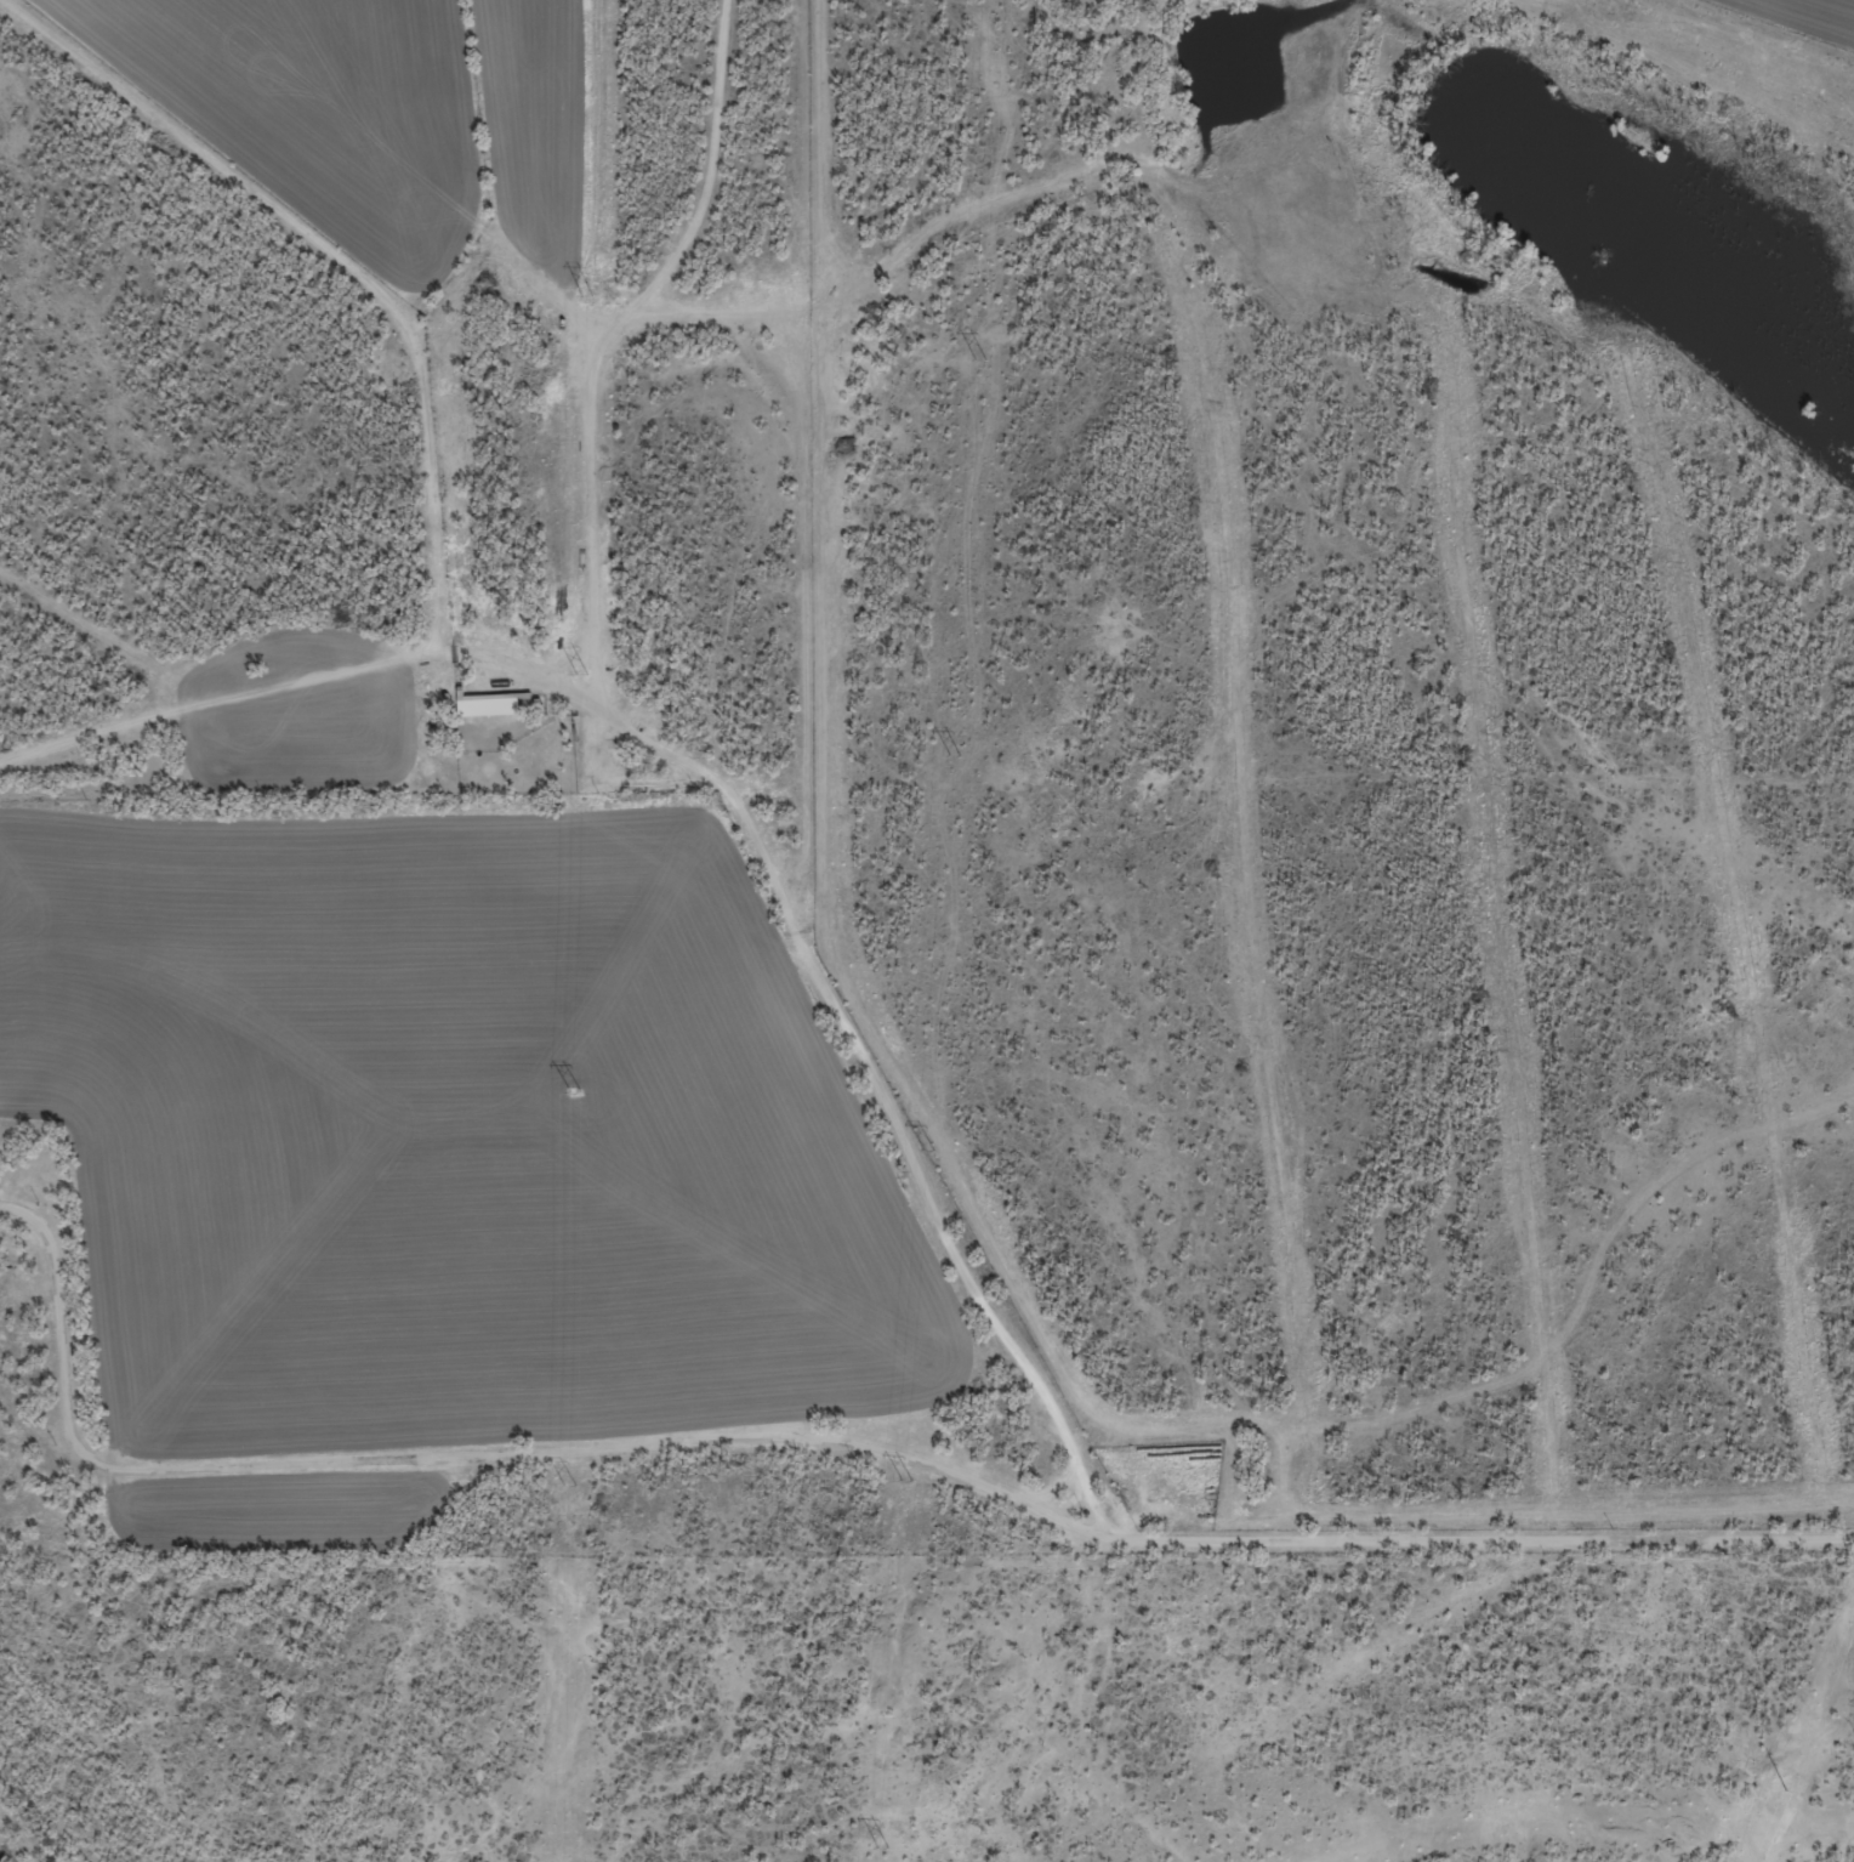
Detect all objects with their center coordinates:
power tower: (585, 295)
power tower: (978, 359)
power tower: (580, 671)
building: (494, 715)
power tower: (952, 755)
power tower: (574, 1092)
power tower: (926, 1149)
road: (832, 1440)
power tower: (905, 1480)
power tower: (568, 1487)
power tower: (881, 1847)

